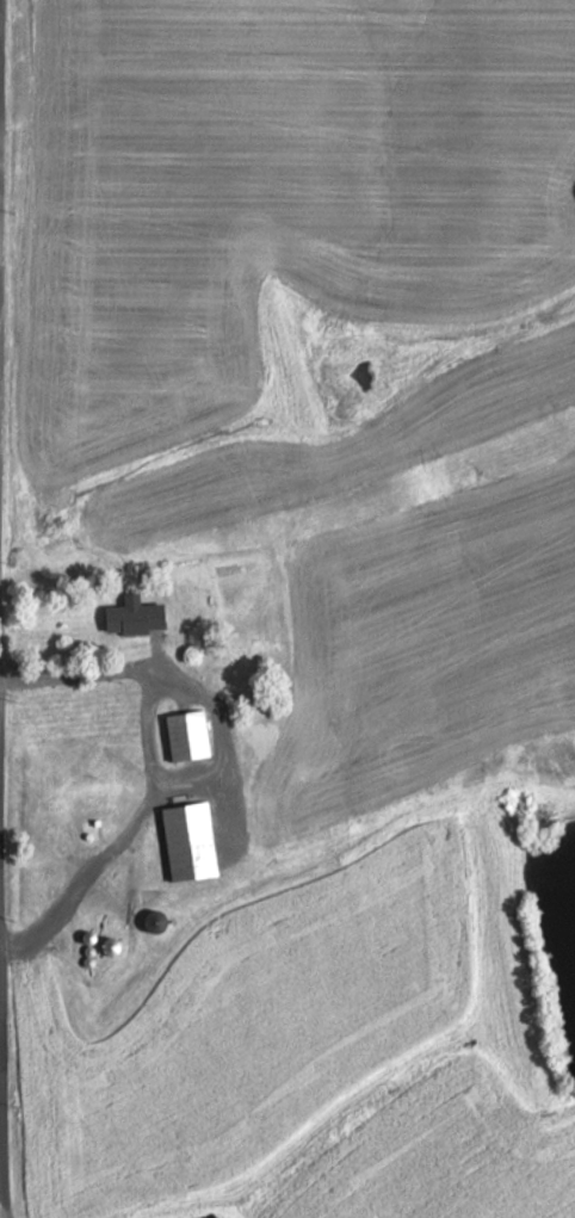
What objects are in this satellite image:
road: (7, 608)
building: (134, 617)
road: (5, 666)
building: (187, 735)
building: (264, 750)
building: (91, 829)
building: (187, 841)
road: (104, 859)
building: (154, 922)
building: (109, 946)

